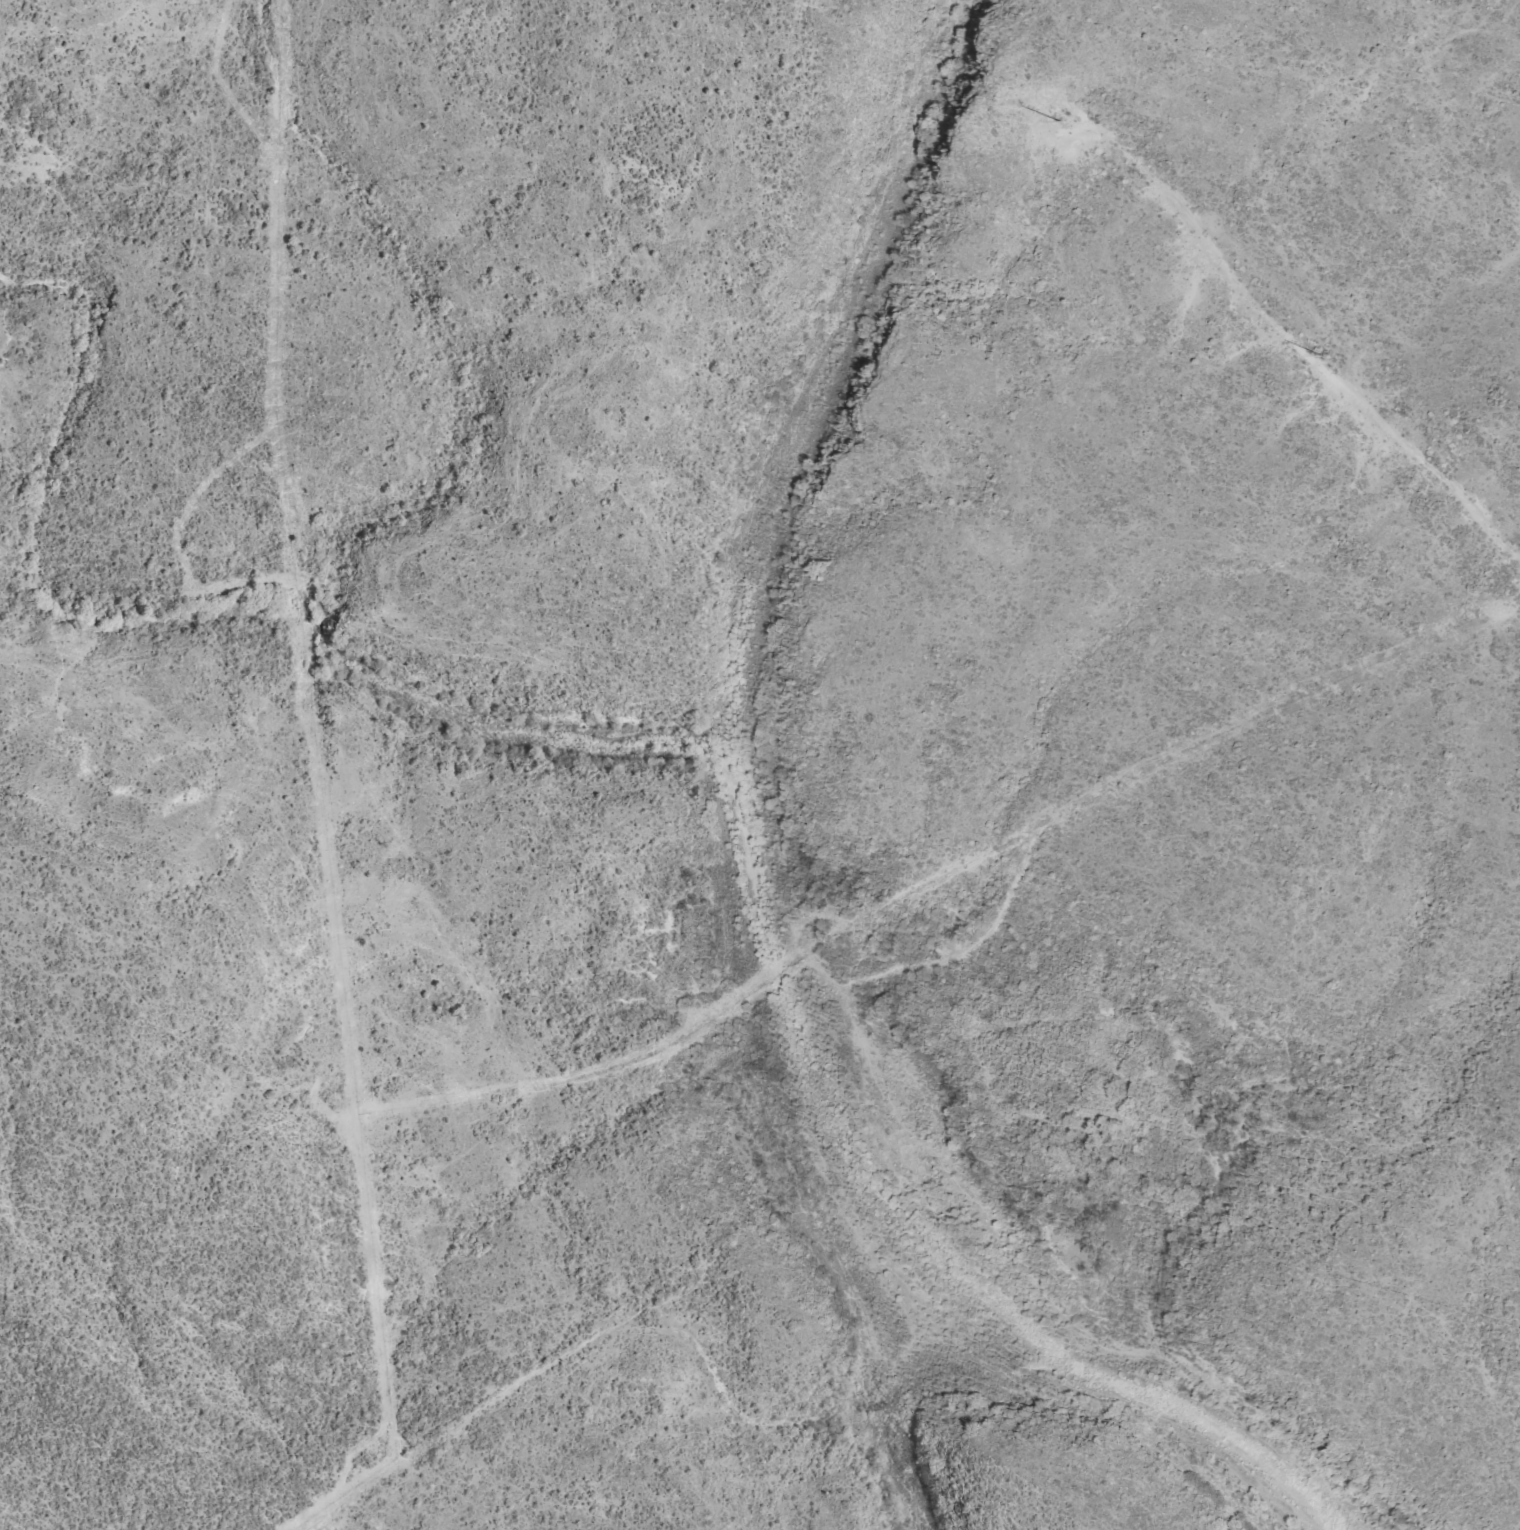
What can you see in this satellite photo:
power tower: (1061, 120)
power tower: (1230, 267)

